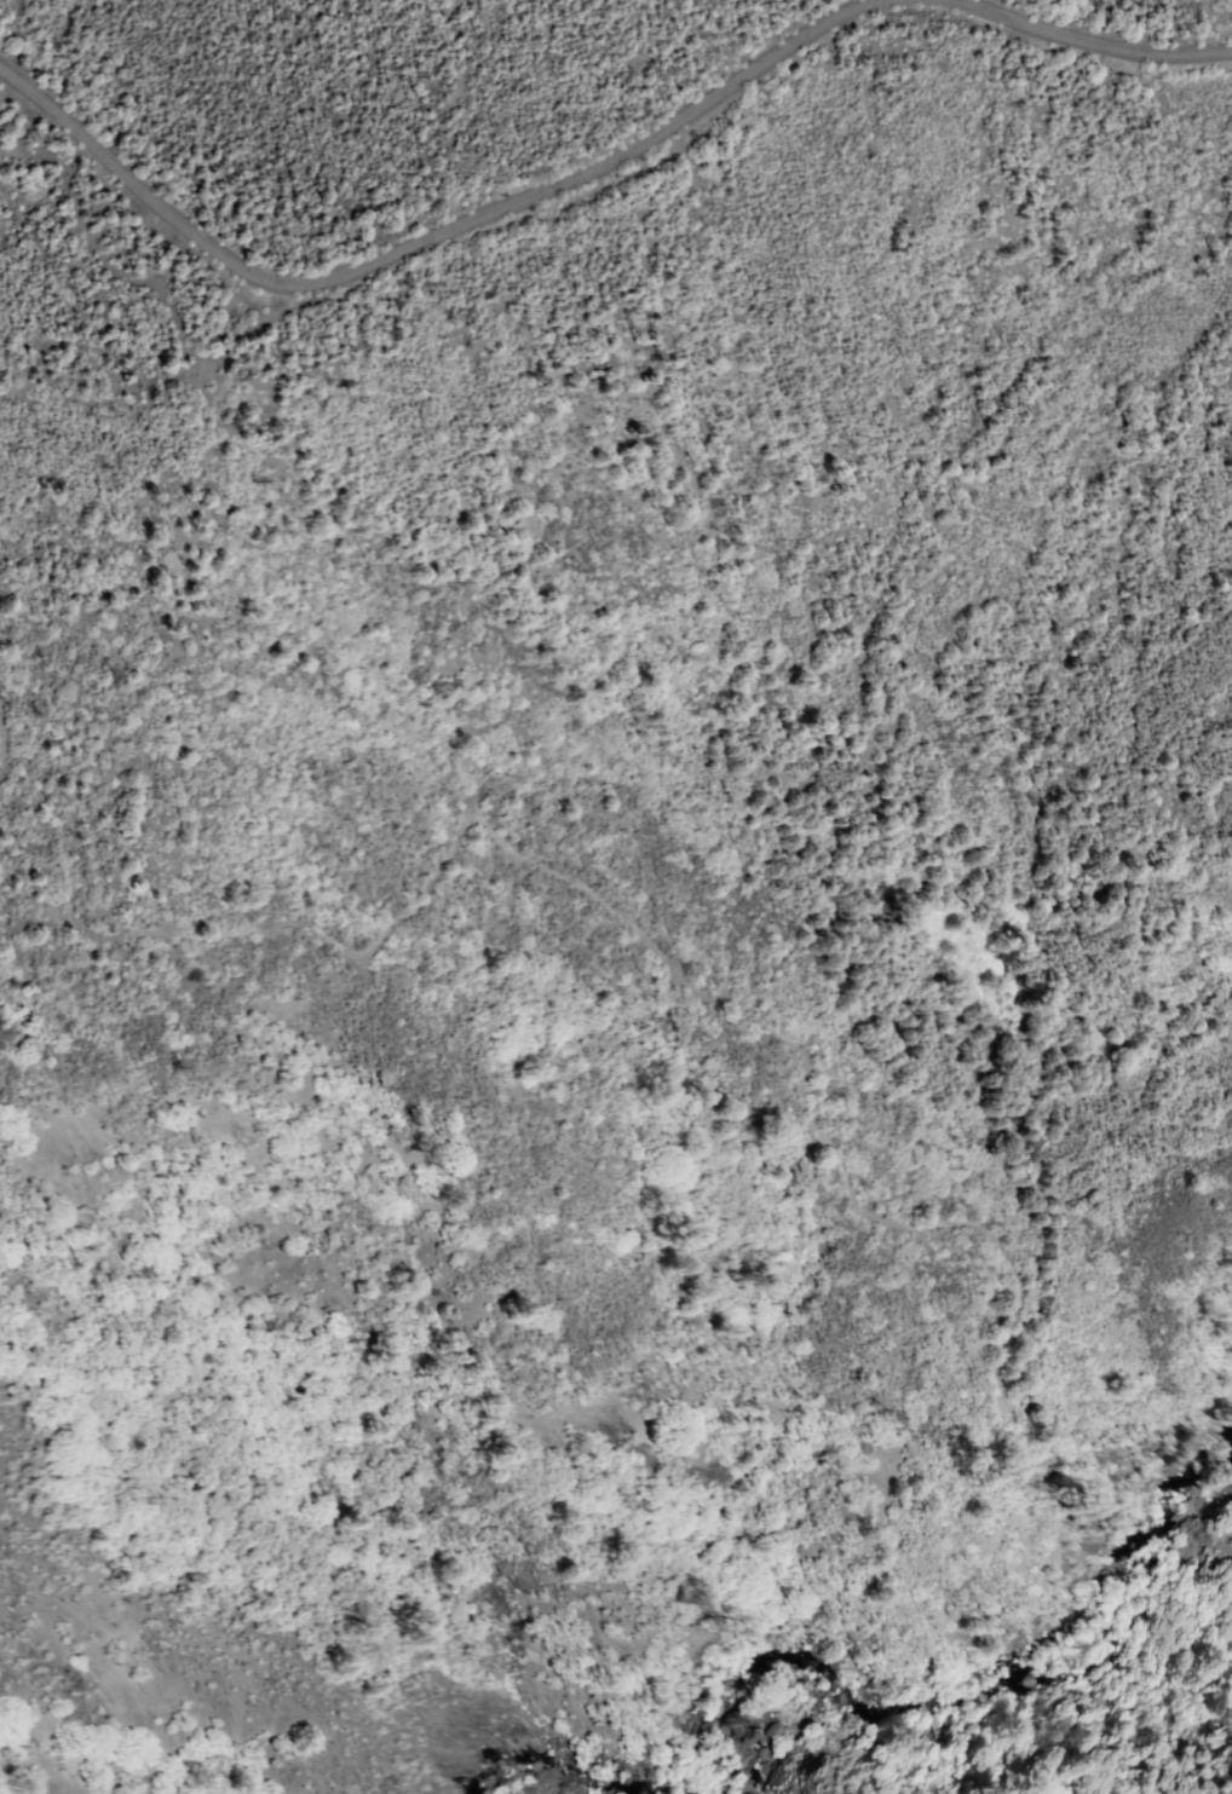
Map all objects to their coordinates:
road: (1087, 40)
road: (430, 237)
road: (8, 746)

